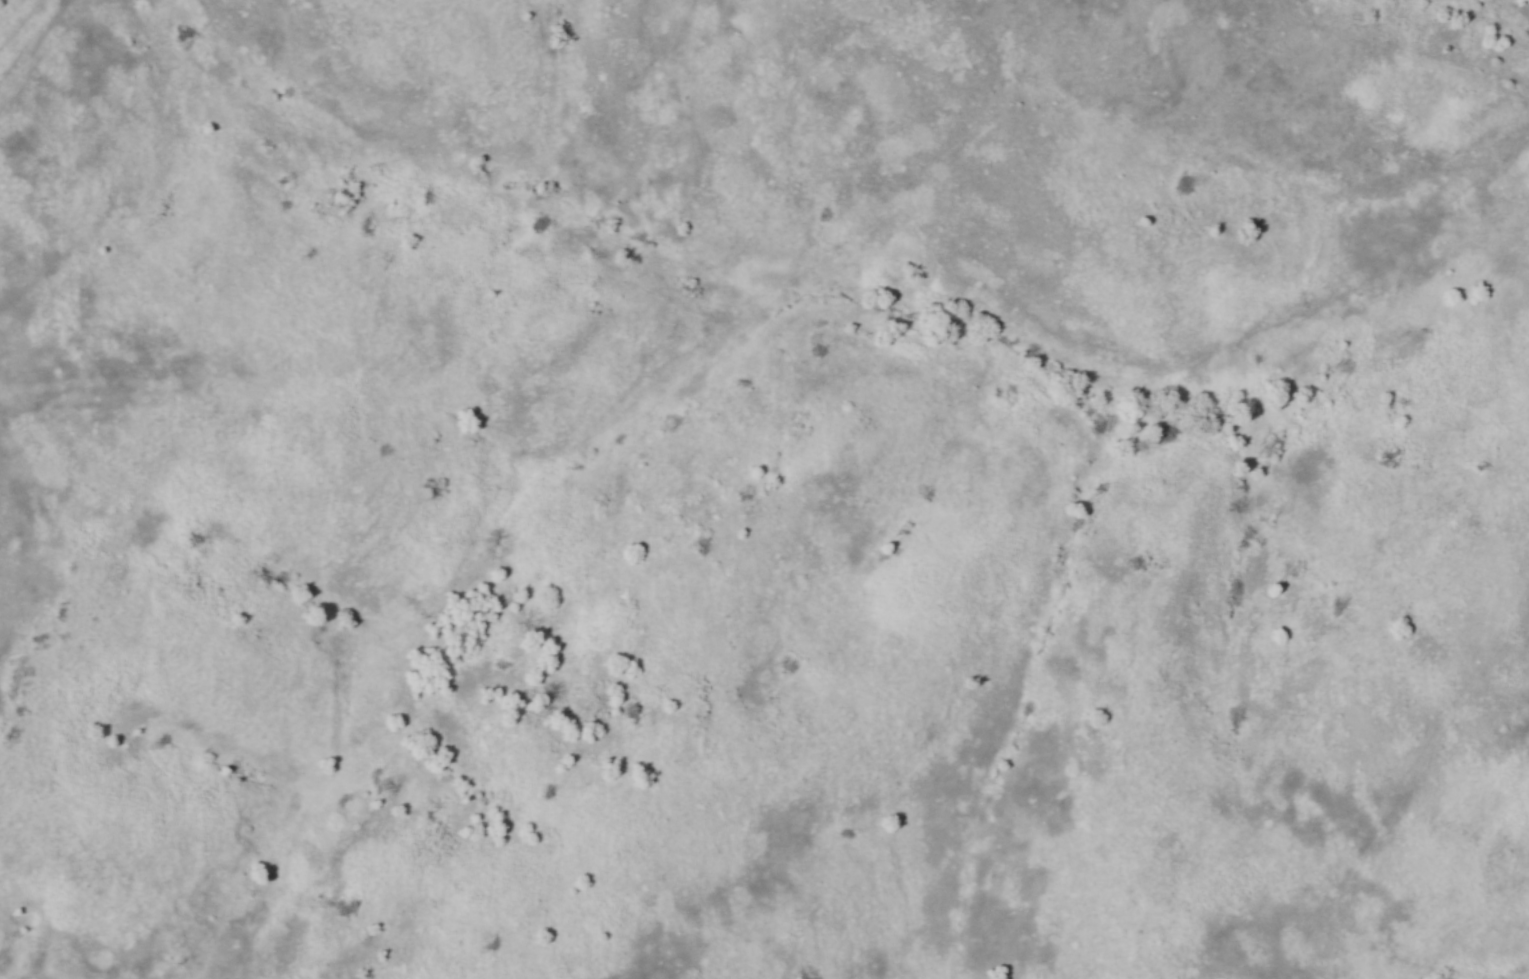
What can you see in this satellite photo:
park: (764, 489)

